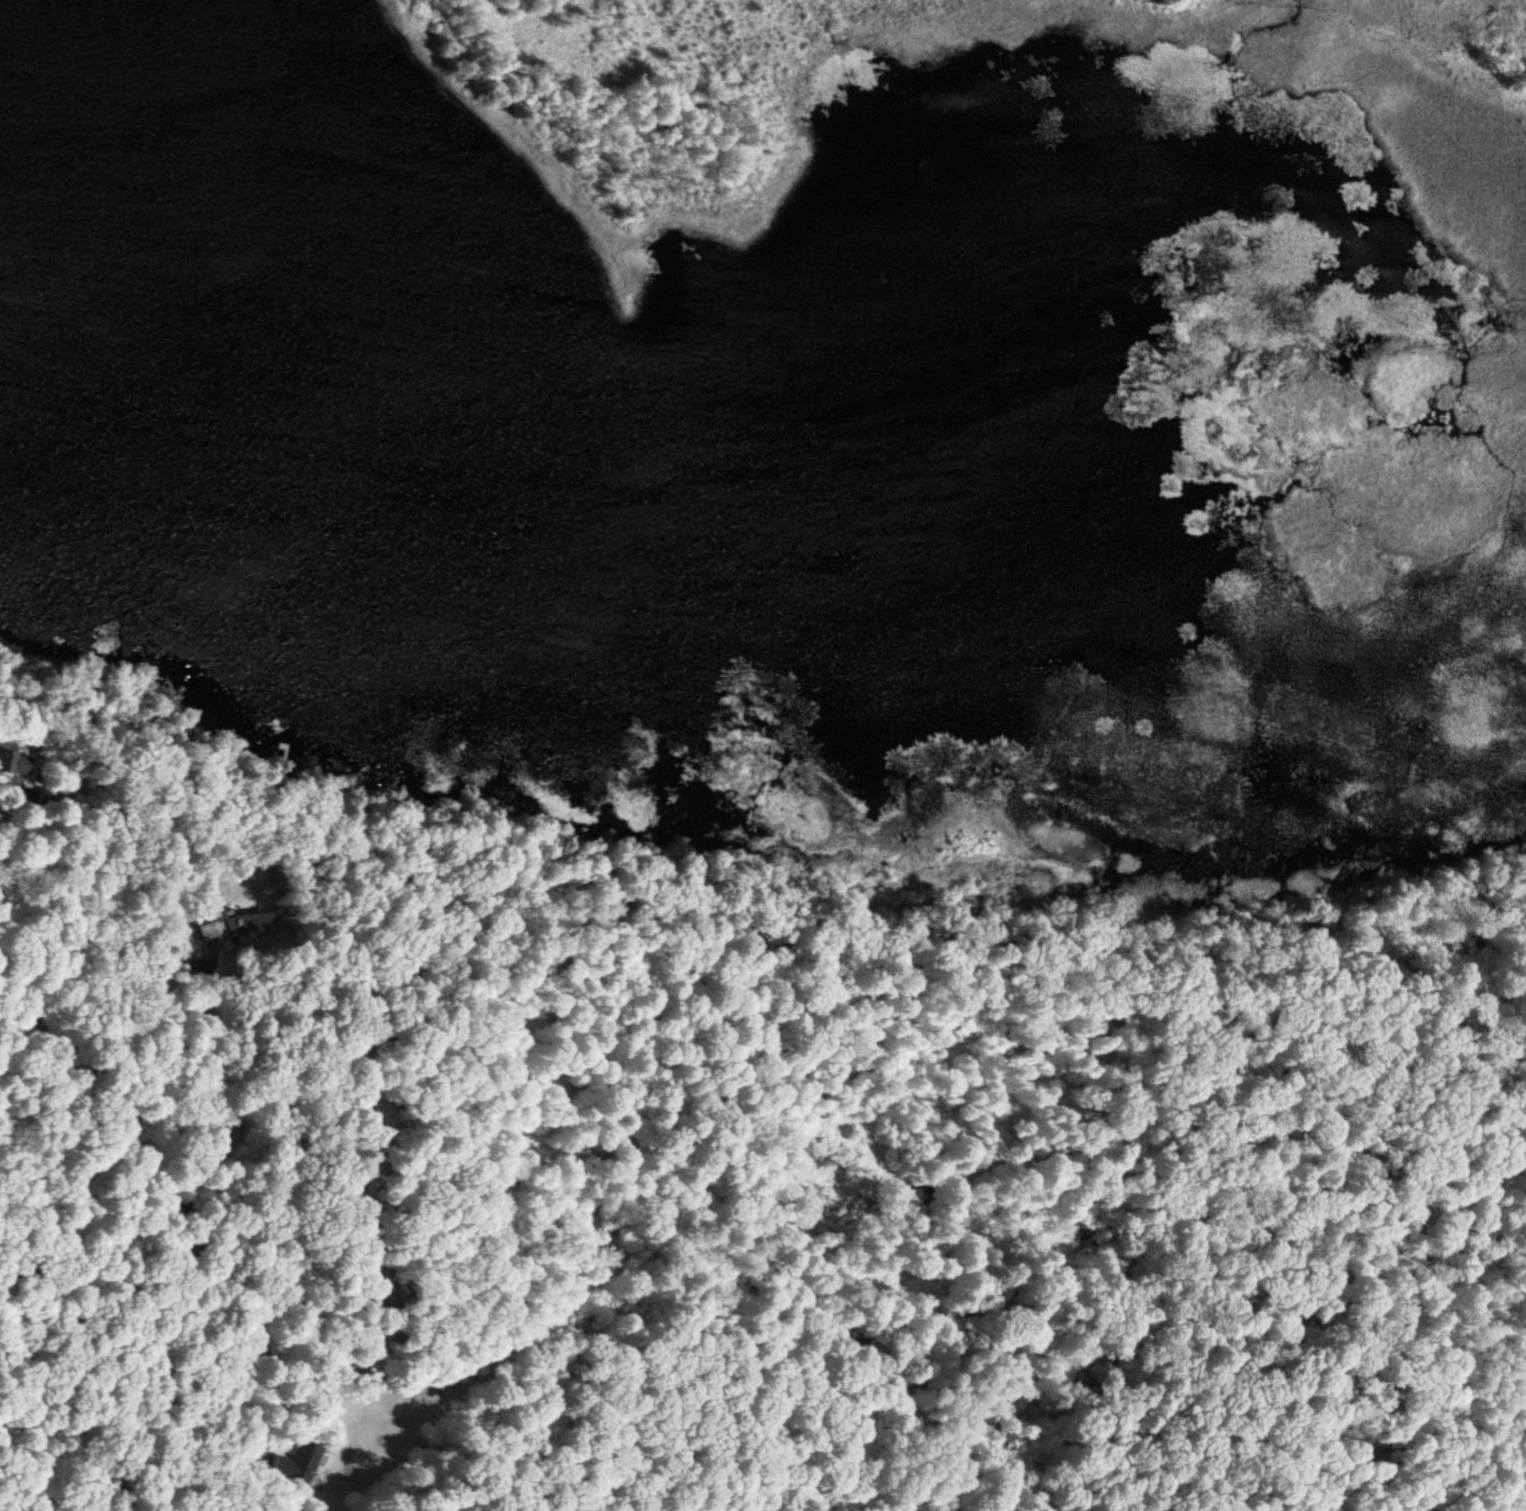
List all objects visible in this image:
building: (14, 759)
road: (26, 854)
building: (237, 923)
road: (204, 1086)
road: (161, 1192)
road: (627, 1224)
road: (637, 1388)
road: (262, 1390)
building: (296, 1460)

